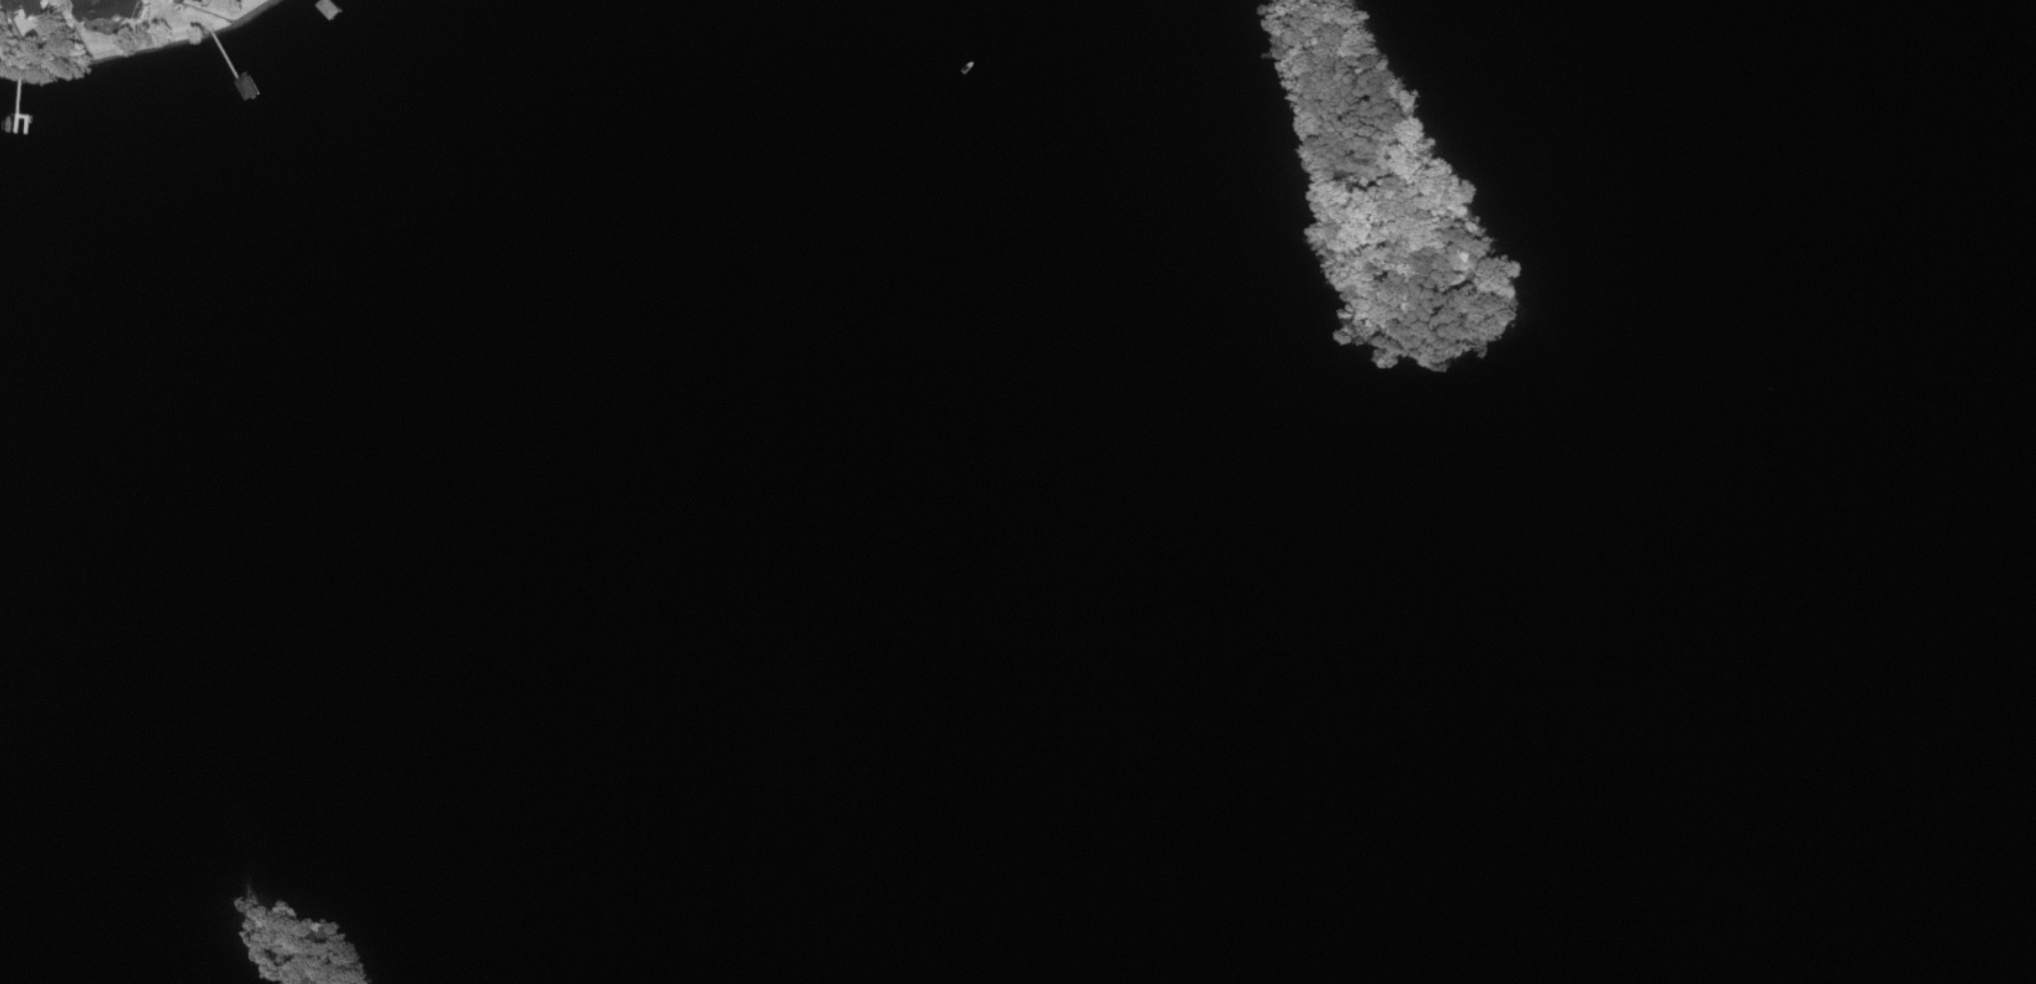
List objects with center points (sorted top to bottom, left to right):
building: (207, 0)
building: (34, 6)

